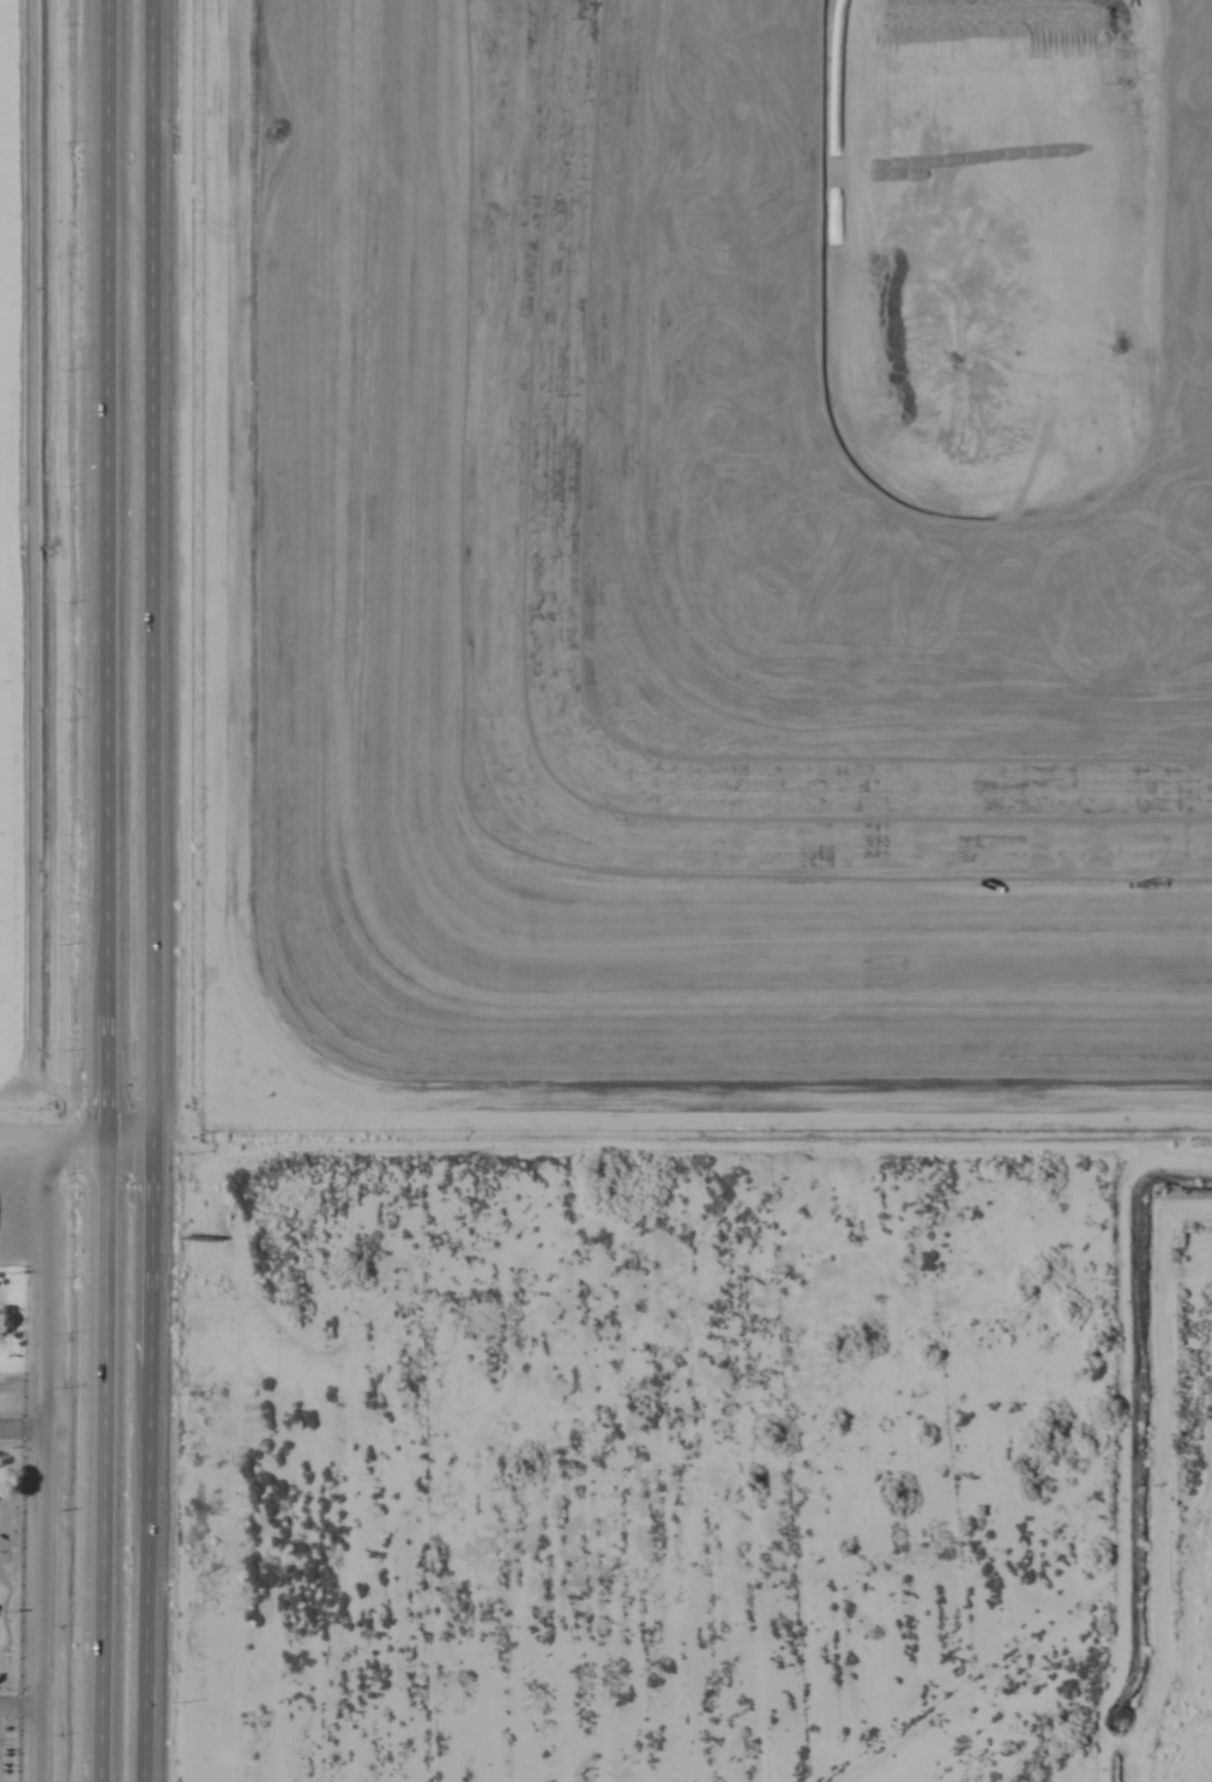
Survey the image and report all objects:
road: (98, 891)
road: (144, 891)
road: (72, 1143)
road: (44, 1462)

